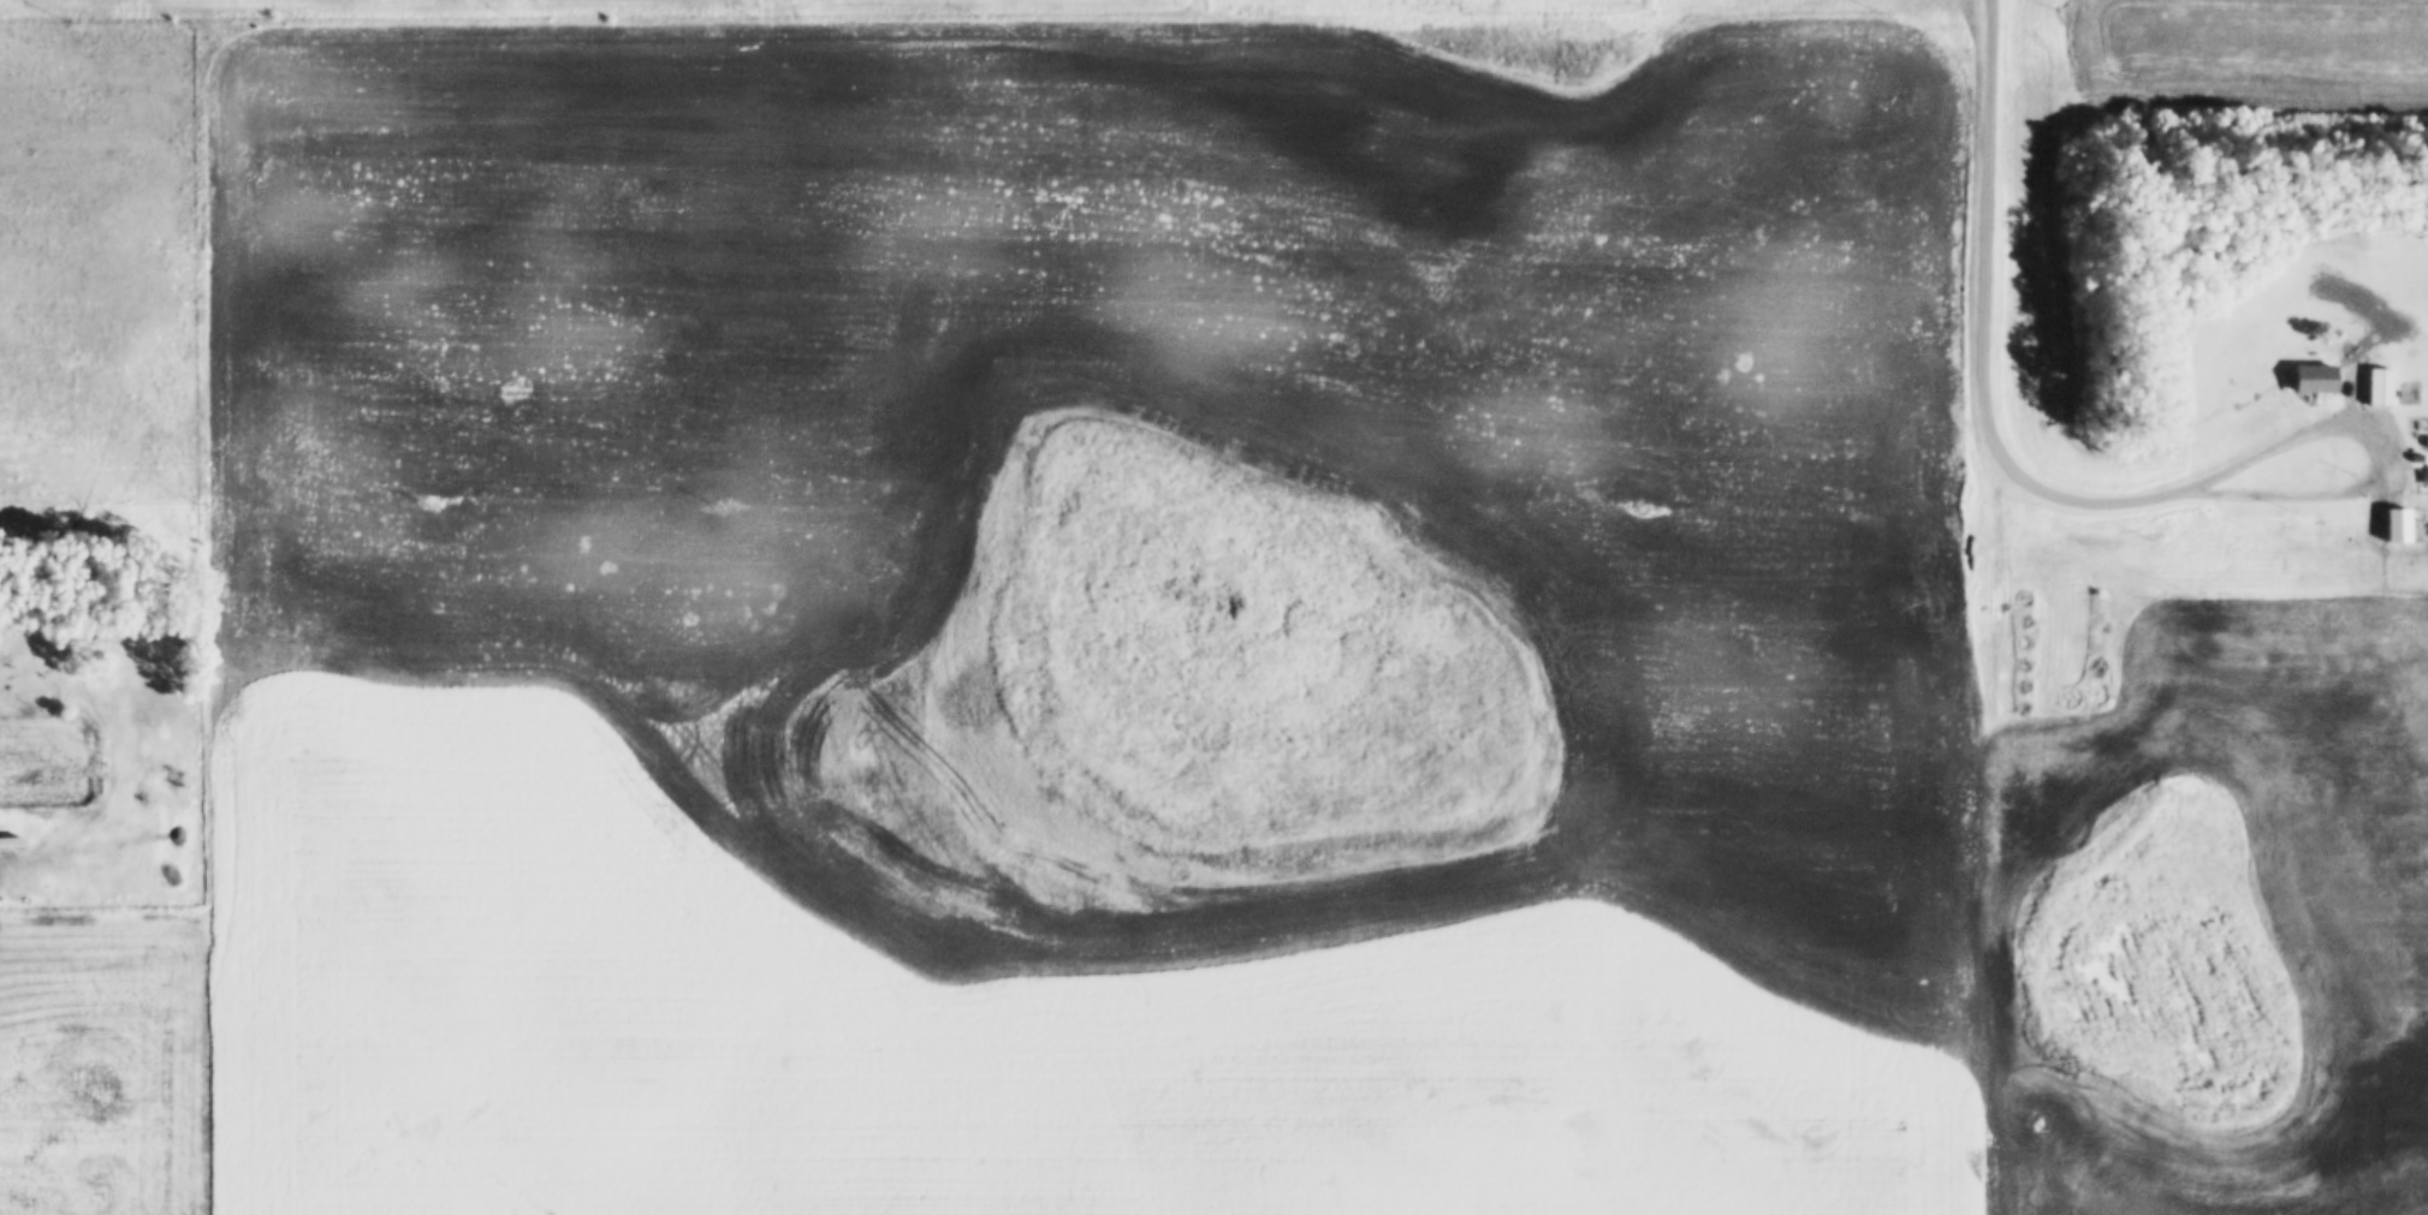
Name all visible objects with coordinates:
road: (1987, 334)
building: (2315, 380)
building: (2380, 388)
road: (2382, 441)

